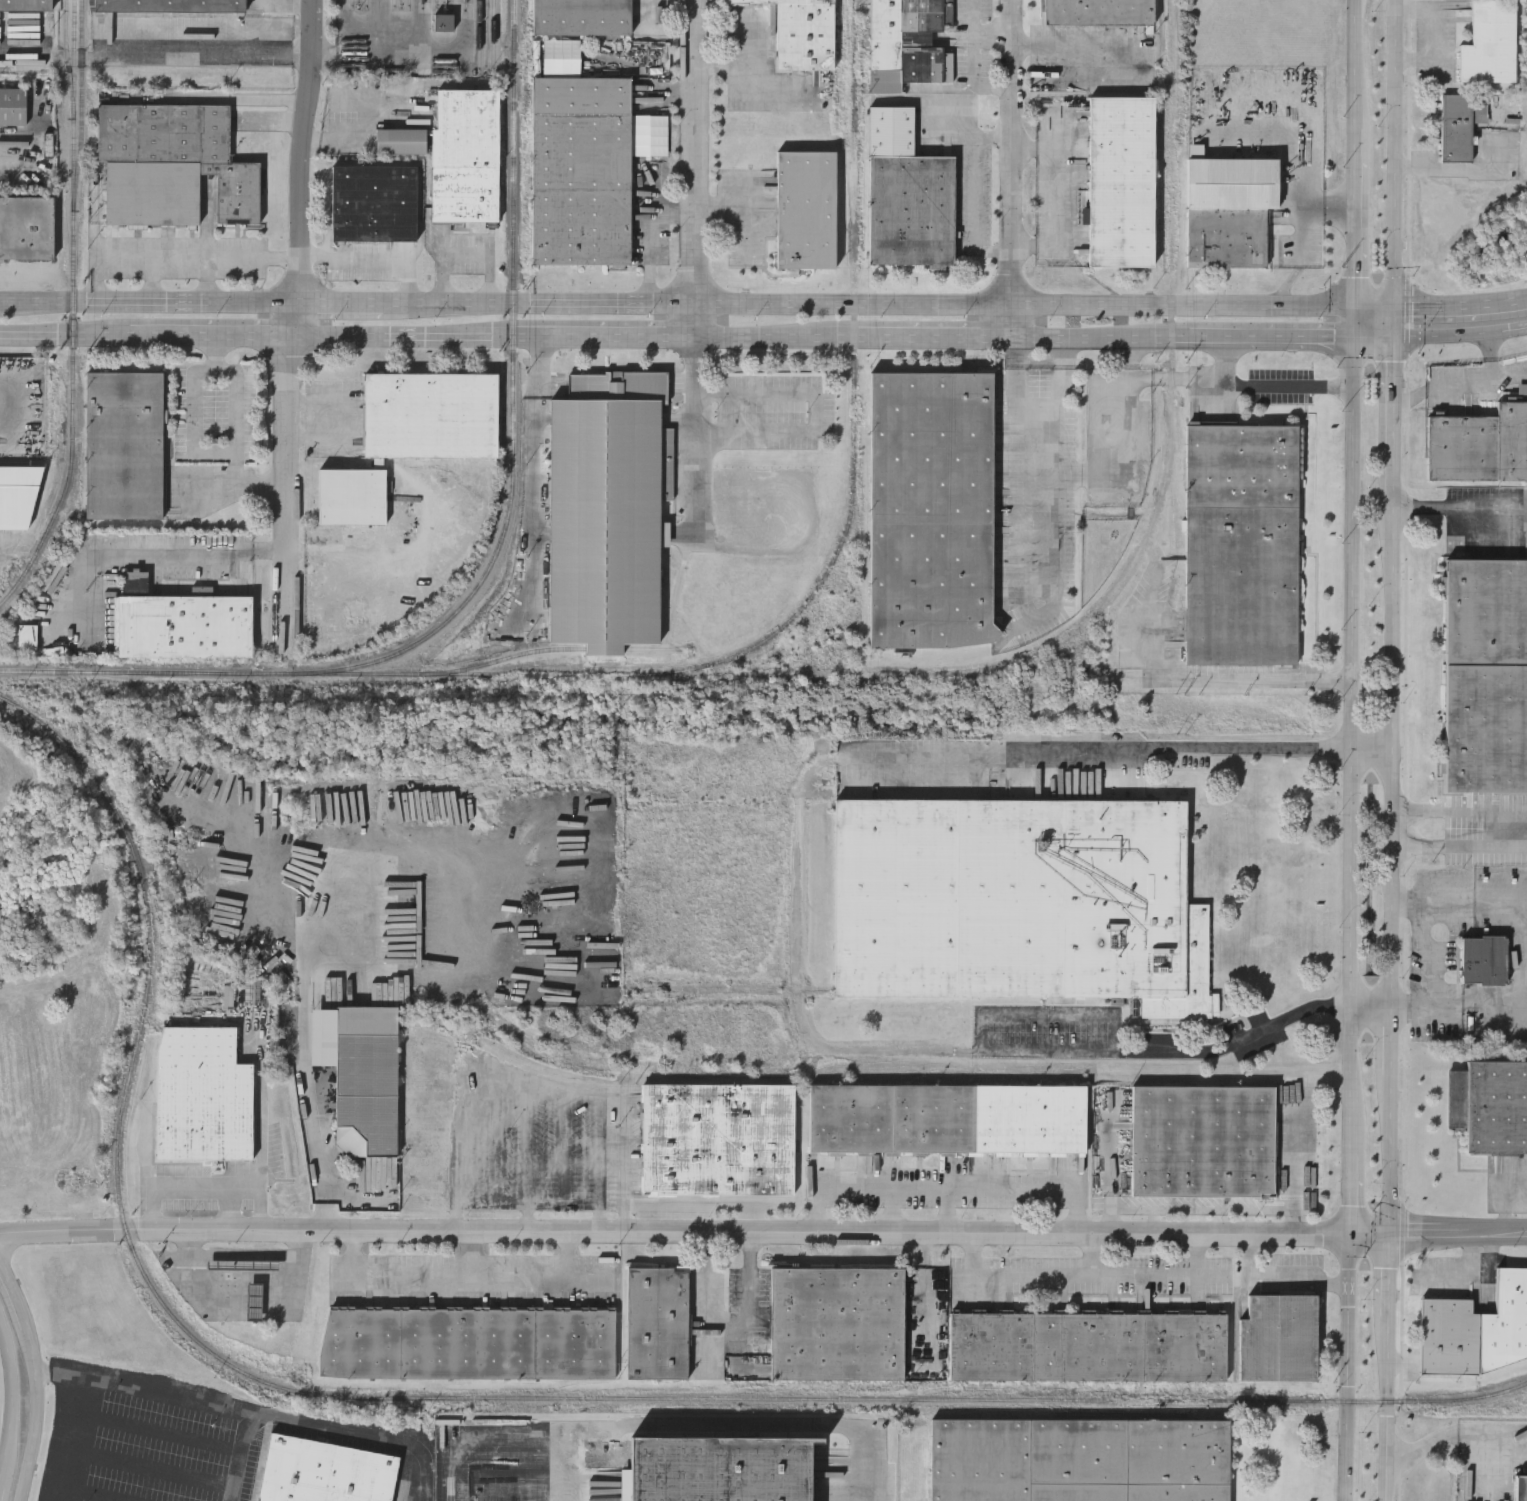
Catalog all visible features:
railway: (352, 3)
railway: (395, 3)
railway: (437, 3)
railway: (367, 4)
railway: (408, 4)
building: (170, 5)
railway: (450, 5)
building: (1077, 7)
building: (32, 14)
building: (581, 16)
building: (443, 21)
road: (974, 22)
railway: (480, 32)
railway: (494, 33)
building: (802, 33)
building: (908, 42)
building: (1489, 44)
road: (1075, 45)
road: (155, 49)
railway: (66, 54)
road: (1101, 76)
road: (975, 77)
road: (237, 97)
railway: (81, 103)
building: (12, 105)
building: (1458, 125)
road: (332, 137)
road: (990, 137)
road: (1396, 151)
building: (465, 156)
building: (172, 164)
road: (1011, 168)
road: (689, 169)
building: (580, 170)
road: (650, 172)
road: (1462, 175)
building: (1121, 180)
building: (907, 194)
road: (976, 194)
road: (1050, 195)
building: (374, 202)
road: (1423, 207)
building: (1229, 208)
building: (805, 209)
road: (669, 211)
road: (732, 212)
building: (27, 227)
road: (745, 235)
road: (993, 252)
road: (468, 253)
road: (177, 256)
road: (368, 257)
road: (155, 276)
road: (212, 276)
railway: (74, 279)
road: (340, 296)
road: (148, 297)
road: (888, 298)
road: (1461, 302)
traffic signals: (1357, 303)
traffic signals: (1396, 304)
road: (1395, 321)
road: (291, 332)
road: (67, 333)
road: (1460, 334)
road: (212, 335)
road: (1211, 336)
road: (1295, 336)
road: (1100, 337)
traffic signals: (1356, 337)
road: (1375, 337)
road: (402, 338)
traffic signals: (1394, 338)
road: (599, 339)
road: (768, 339)
road: (932, 339)
road: (1491, 357)
road: (1128, 359)
road: (1018, 370)
road: (1062, 373)
road: (1266, 382)
road: (1459, 385)
road: (1107, 393)
road: (3, 408)
road: (817, 412)
building: (428, 414)
road: (347, 419)
road: (1393, 422)
road: (1049, 433)
road: (695, 437)
building: (12, 441)
building: (125, 445)
building: (1479, 445)
road: (198, 454)
building: (1241, 467)
road: (533, 478)
road: (248, 486)
building: (17, 495)
building: (352, 497)
road: (1460, 507)
building: (931, 509)
building: (606, 510)
railway: (864, 547)
railway: (498, 548)
road: (271, 549)
road: (140, 551)
road: (1053, 563)
railway: (829, 567)
railway: (20, 579)
building: (1241, 588)
building: (180, 624)
building: (28, 639)
railway: (557, 648)
railway: (480, 672)
railway: (671, 674)
building: (1485, 676)
road: (1248, 682)
road: (1371, 747)
road: (1349, 750)
road: (1394, 756)
railway: (90, 771)
road: (806, 796)
road: (1497, 826)
building: (1018, 902)
road: (1430, 957)
building: (1482, 960)
road: (1256, 1034)
road: (1391, 1041)
road: (304, 1077)
road: (532, 1083)
building: (358, 1086)
building: (201, 1098)
building: (1489, 1107)
building: (946, 1120)
building: (717, 1141)
building: (1202, 1142)
road: (1392, 1153)
road: (1111, 1154)
road: (529, 1157)
road: (599, 1160)
road: (207, 1186)
road: (946, 1186)
road: (1516, 1186)
road: (230, 1208)
road: (1504, 1208)
road: (947, 1209)
road: (1187, 1209)
road: (1287, 1209)
road: (1110, 1220)
road: (1155, 1220)
road: (1459, 1230)
road: (695, 1231)
traffic signals: (1353, 1231)
traffic signals: (1392, 1231)
road: (481, 1251)
road: (1093, 1253)
road: (1474, 1270)
road: (467, 1272)
road: (1391, 1274)
road: (1086, 1275)
road: (241, 1279)
road: (1277, 1282)
road: (749, 1290)
road: (16, 1294)
road: (714, 1303)
building: (656, 1323)
building: (835, 1324)
building: (1474, 1328)
building: (1277, 1338)
building: (467, 1344)
building: (1087, 1347)
railway: (1040, 1386)
railway: (610, 1398)
road: (13, 1403)
road: (256, 1409)
road: (1389, 1409)
road: (35, 1414)
road: (724, 1424)
road: (1460, 1429)
road: (160, 1430)
road: (79, 1437)
road: (239, 1454)
building: (1077, 1459)
building: (720, 1468)
road: (156, 1470)
building: (324, 1472)
building: (1520, 1487)
road: (99, 1495)

